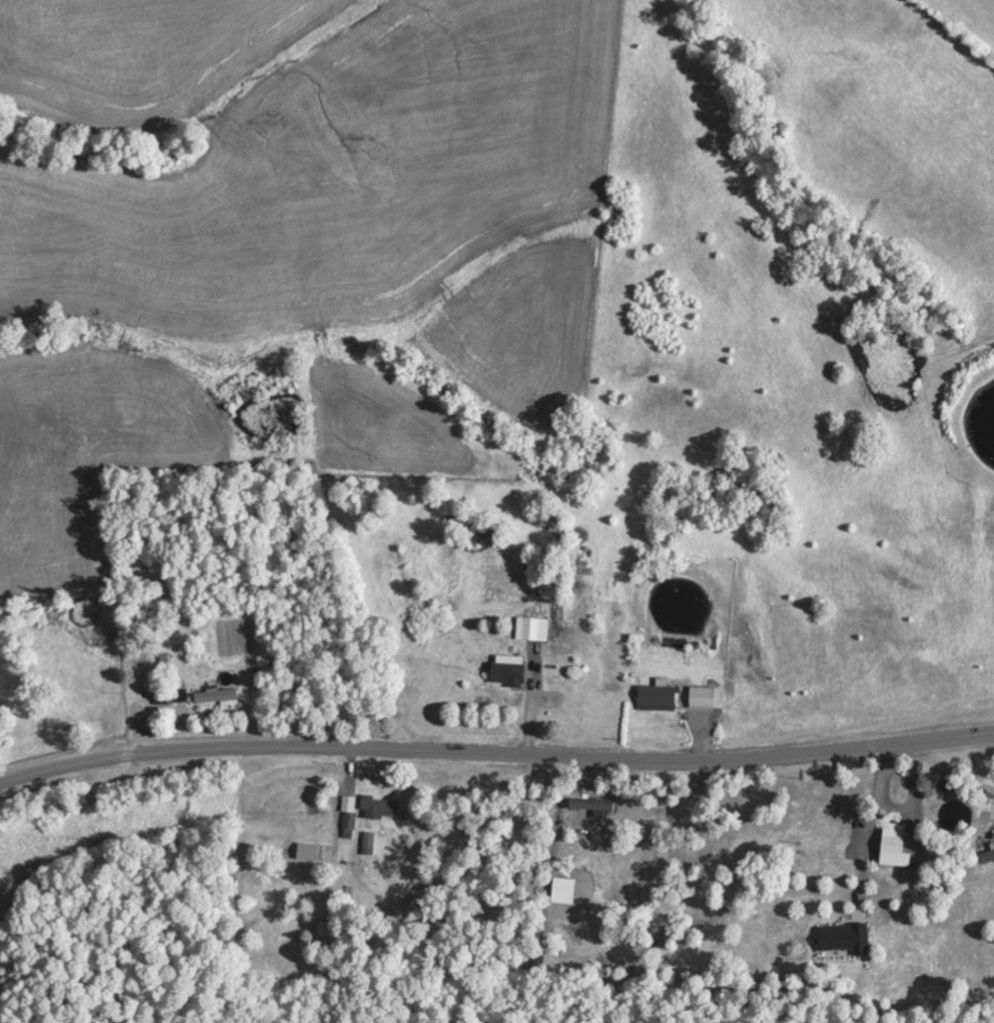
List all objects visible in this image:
building: (534, 631)
building: (511, 672)
building: (659, 697)
building: (220, 698)
building: (708, 699)
building: (163, 702)
road: (495, 753)
building: (598, 808)
building: (382, 809)
building: (352, 813)
building: (371, 845)
building: (898, 848)
building: (310, 853)
building: (989, 860)
building: (566, 892)
building: (848, 940)

